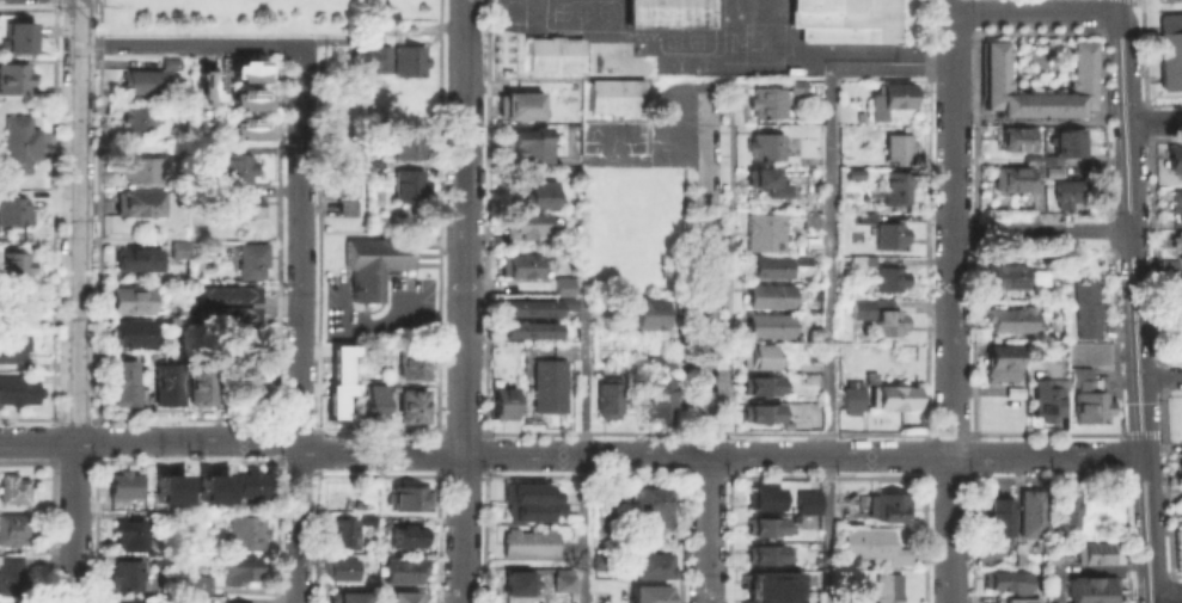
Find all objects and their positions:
road: (949, 6)
road: (1039, 12)
building: (666, 13)
building: (844, 20)
building: (16, 37)
road: (188, 43)
building: (1172, 48)
building: (553, 54)
building: (369, 57)
building: (408, 60)
building: (171, 66)
building: (994, 66)
building: (250, 73)
building: (16, 80)
building: (142, 82)
building: (796, 84)
building: (208, 91)
building: (614, 94)
building: (888, 97)
building: (250, 101)
building: (765, 101)
building: (517, 105)
building: (114, 106)
building: (137, 122)
road: (708, 122)
road: (1157, 122)
building: (250, 130)
building: (410, 134)
building: (1013, 137)
building: (1065, 139)
building: (525, 144)
building: (764, 146)
building: (895, 146)
building: (23, 147)
road: (645, 156)
building: (1028, 156)
building: (1048, 156)
building: (1174, 161)
building: (1036, 166)
building: (142, 168)
building: (239, 170)
building: (1049, 170)
building: (1010, 176)
building: (1036, 177)
building: (760, 179)
building: (343, 181)
building: (895, 186)
building: (408, 191)
building: (1071, 191)
building: (539, 196)
building: (1176, 204)
building: (142, 205)
building: (247, 208)
building: (16, 213)
building: (812, 217)
road: (584, 221)
road: (1137, 226)
building: (527, 227)
road: (1045, 230)
building: (764, 233)
building: (888, 235)
building: (1176, 244)
road: (299, 246)
building: (177, 247)
building: (801, 258)
building: (858, 259)
building: (141, 263)
building: (256, 264)
building: (372, 264)
building: (516, 266)
building: (17, 267)
building: (768, 267)
road: (829, 272)
building: (1008, 277)
building: (887, 278)
building: (562, 287)
building: (814, 290)
building: (1177, 290)
building: (226, 295)
building: (768, 296)
road: (76, 301)
road: (464, 301)
building: (565, 302)
building: (136, 303)
building: (18, 304)
building: (526, 306)
road: (950, 306)
building: (1085, 307)
building: (182, 309)
building: (645, 314)
building: (227, 315)
building: (877, 318)
building: (1011, 319)
building: (179, 322)
building: (768, 326)
building: (525, 327)
building: (1177, 331)
building: (136, 336)
building: (14, 349)
building: (760, 356)
building: (339, 361)
building: (412, 363)
building: (1000, 363)
building: (870, 375)
road: (1164, 377)
road: (708, 383)
building: (127, 384)
building: (549, 384)
building: (760, 384)
building: (256, 386)
building: (172, 387)
building: (203, 387)
building: (660, 388)
building: (17, 389)
building: (1011, 389)
building: (894, 394)
building: (1085, 395)
building: (851, 396)
building: (336, 398)
building: (607, 399)
building: (373, 400)
building: (500, 400)
building: (1047, 401)
building: (411, 406)
building: (760, 413)
road: (583, 443)
road: (574, 453)
building: (1180, 462)
building: (125, 485)
building: (255, 485)
building: (169, 487)
building: (212, 487)
building: (13, 490)
building: (406, 498)
building: (527, 499)
building: (760, 499)
building: (806, 502)
building: (653, 505)
building: (1181, 505)
building: (887, 506)
building: (1029, 512)
building: (1064, 512)
building: (996, 521)
road: (298, 524)
road: (1155, 524)
building: (764, 525)
building: (13, 530)
building: (341, 533)
building: (249, 535)
building: (404, 535)
building: (135, 537)
building: (528, 542)
building: (869, 543)
building: (1094, 552)
building: (764, 554)
building: (600, 561)
building: (649, 564)
building: (341, 567)
building: (400, 570)
building: (244, 572)
building: (10, 574)
building: (131, 578)
building: (562, 579)
building: (1004, 582)
building: (520, 583)
building: (203, 585)
building: (773, 586)
building: (886, 587)
building: (1091, 590)
building: (649, 595)
building: (600, 596)
road: (1170, 596)
building: (402, 597)
building: (1035, 597)
building: (347, 598)
road: (1159, 599)
building: (127, 601)
building: (200, 601)

